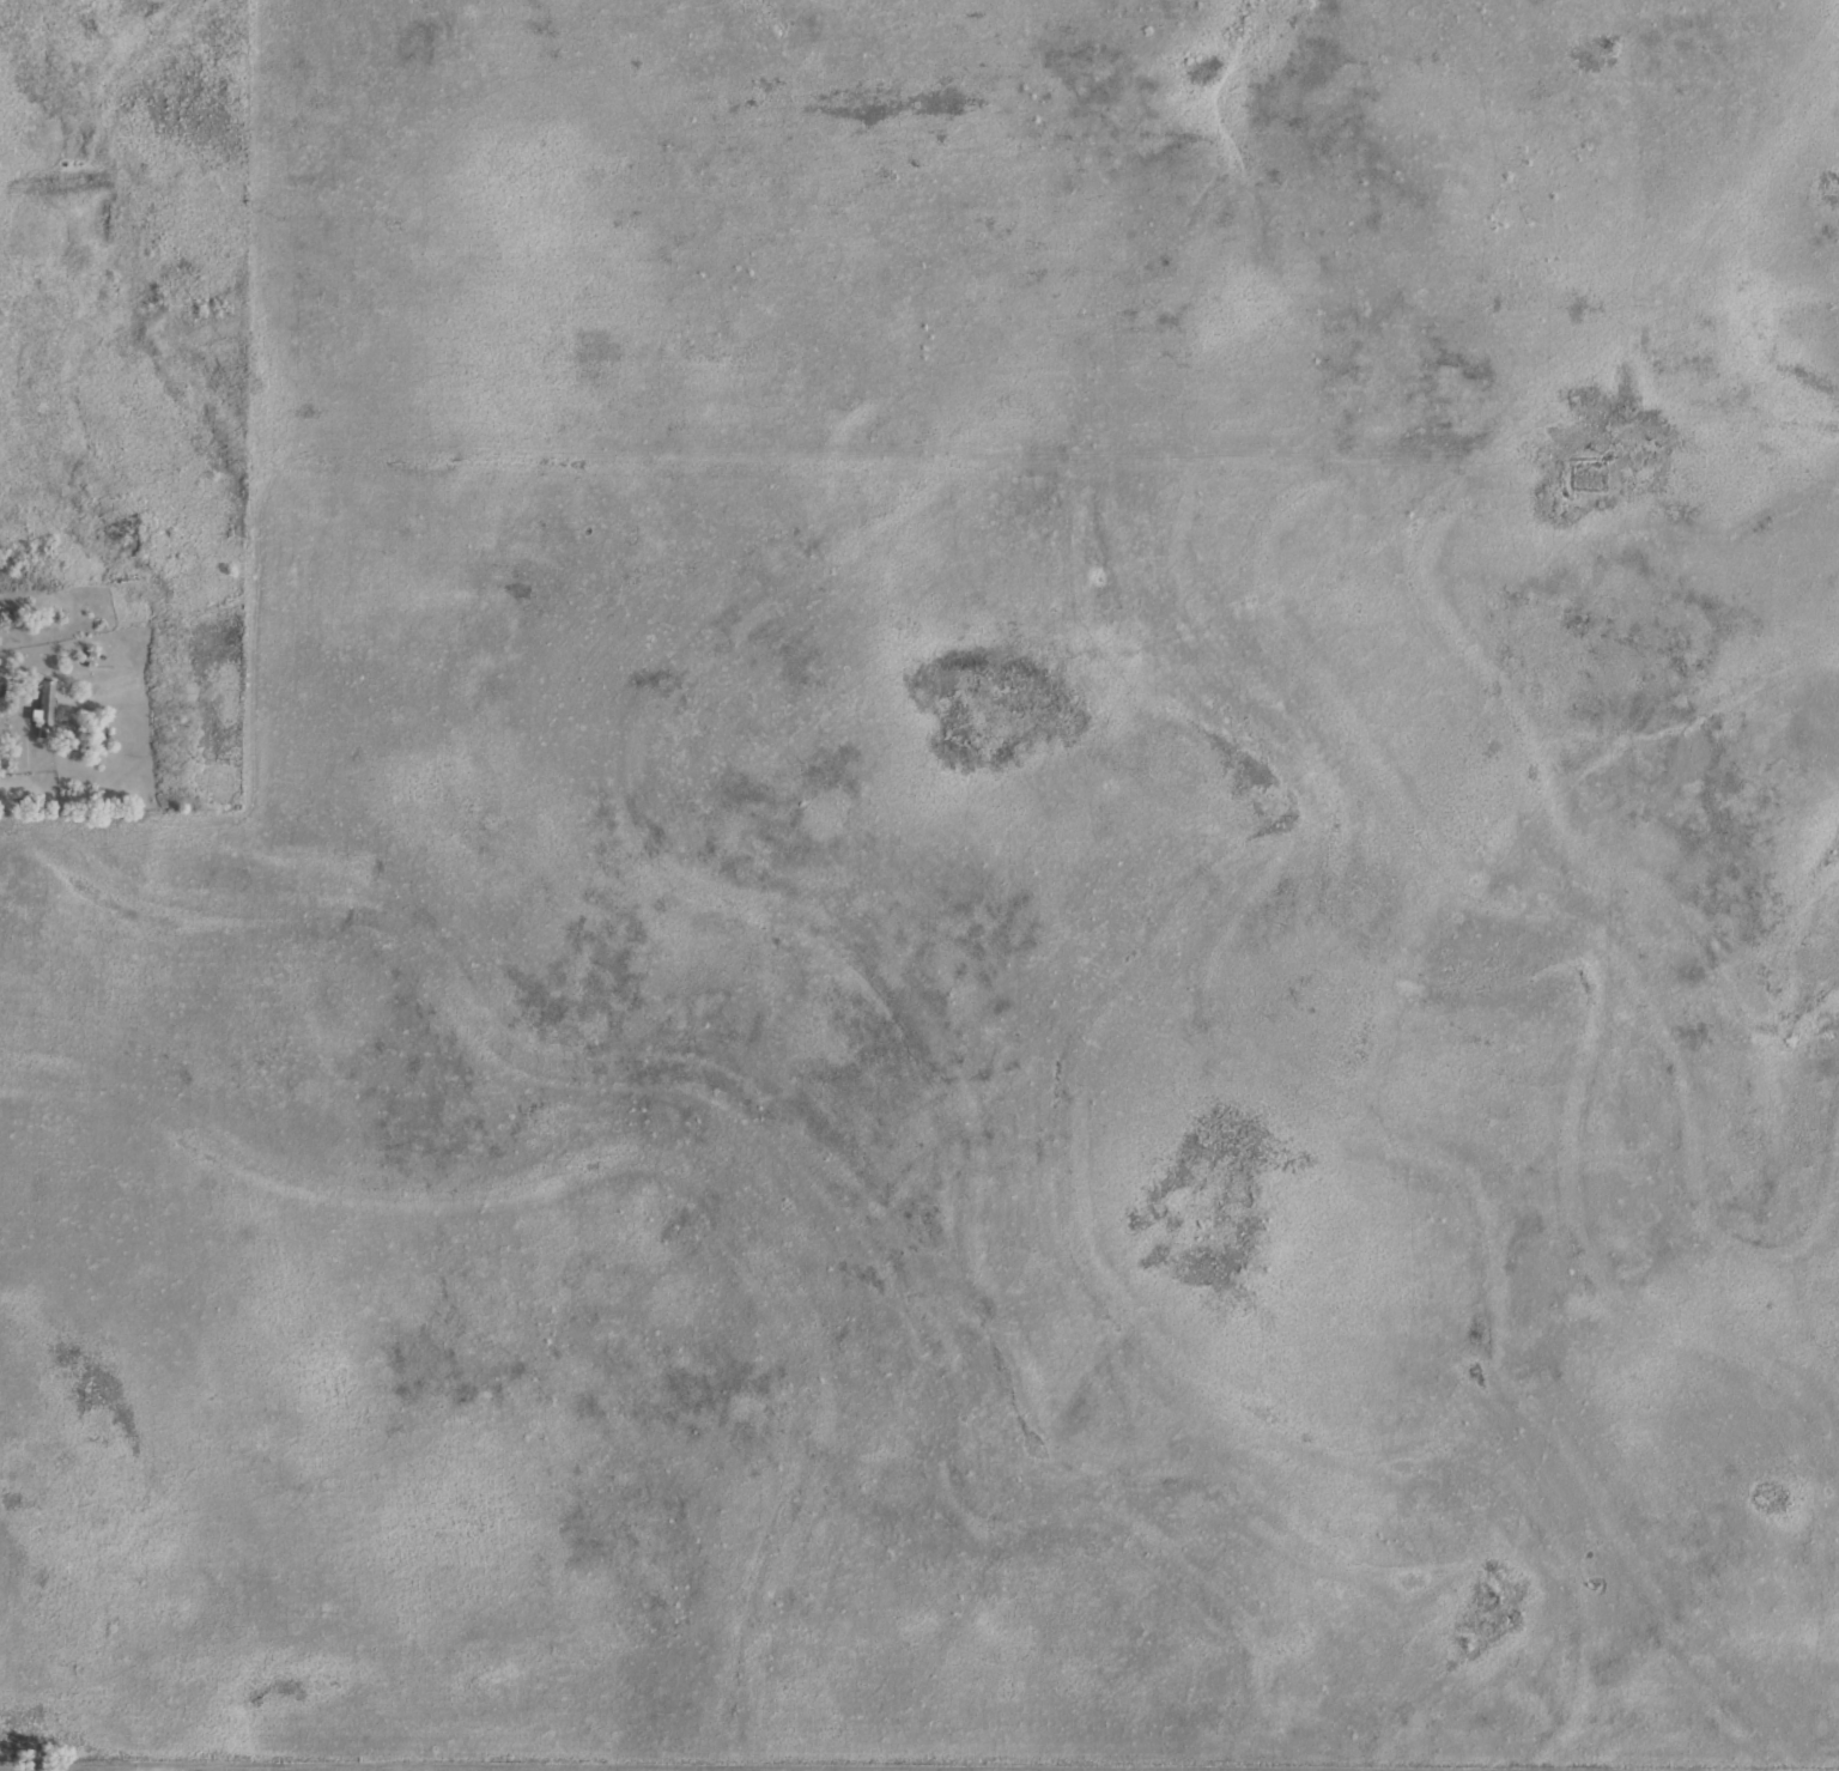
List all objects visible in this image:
building: (47, 710)

